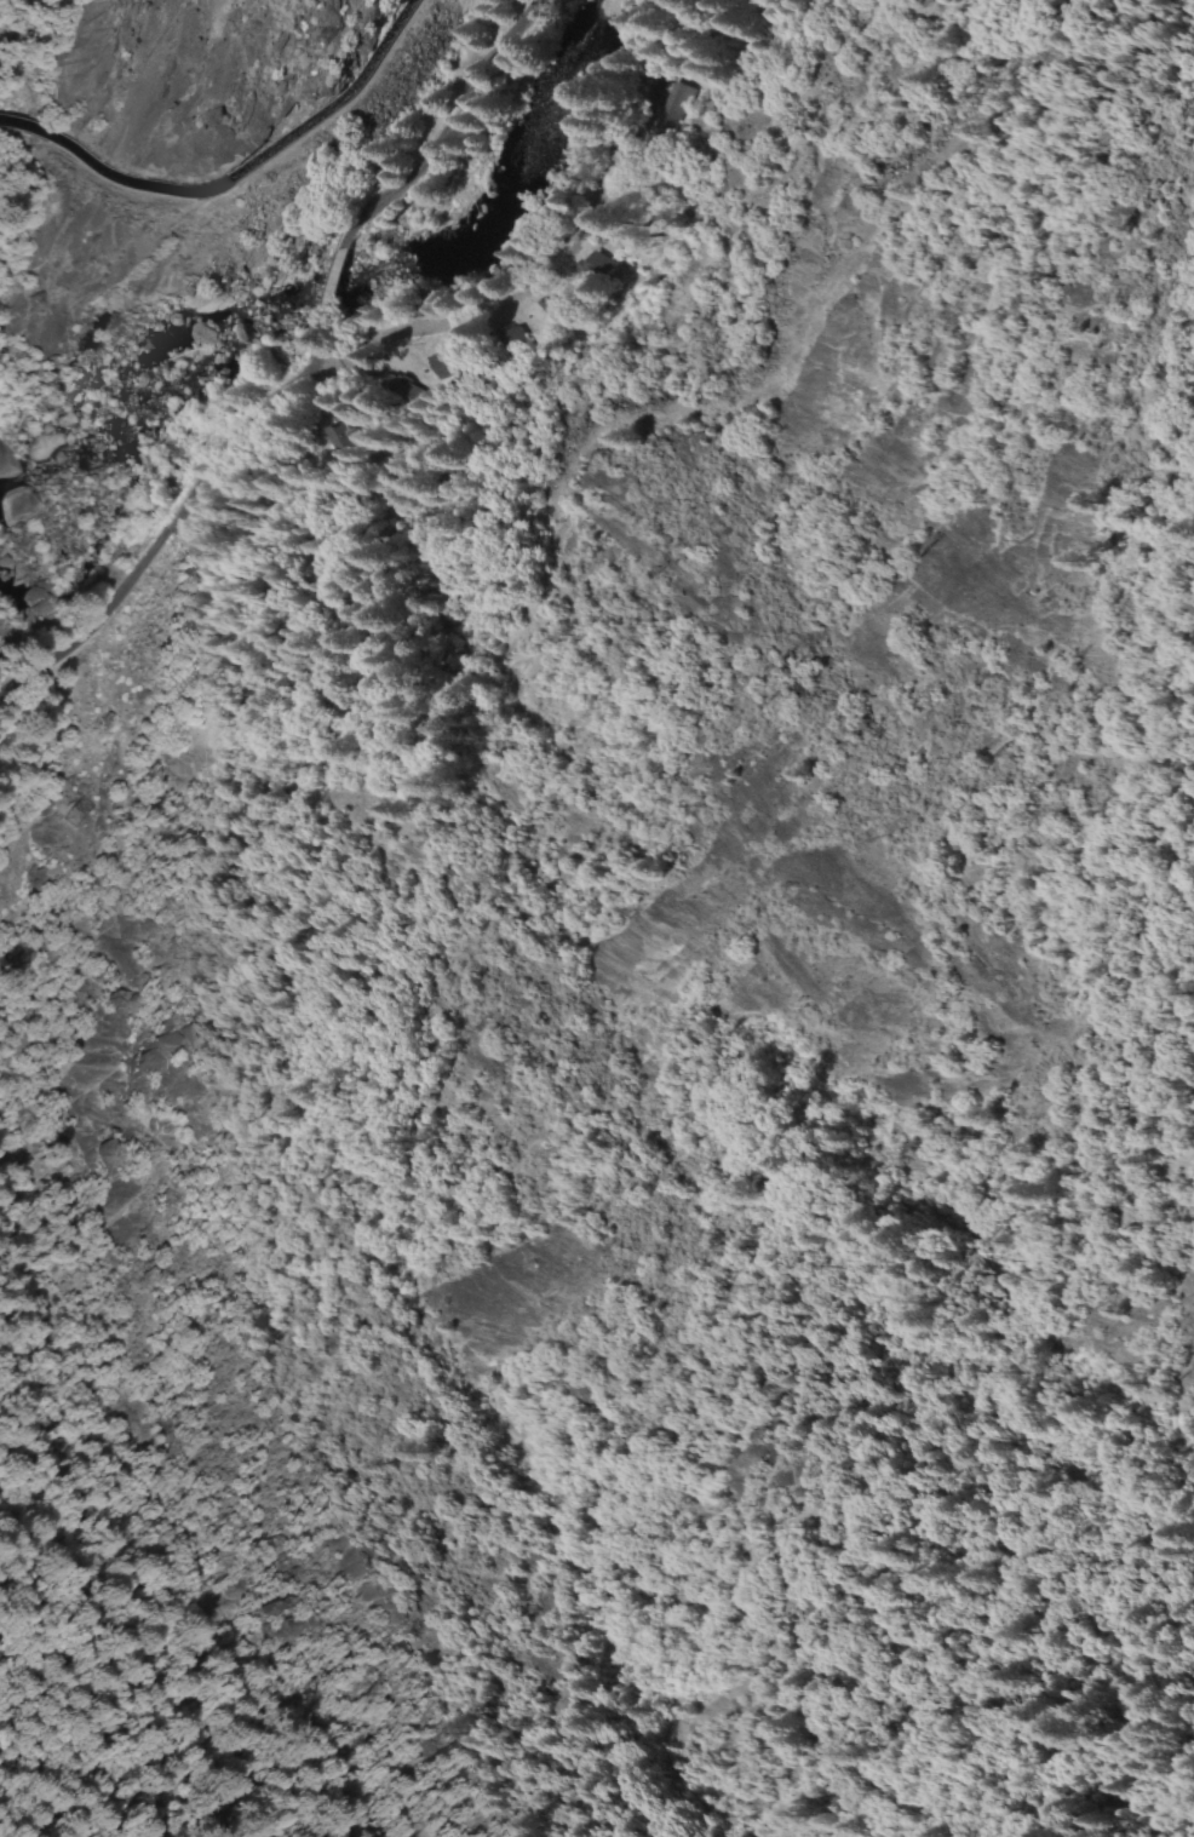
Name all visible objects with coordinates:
road: (452, 75)
building: (664, 107)
building: (595, 264)
river: (302, 320)
road: (449, 322)
building: (511, 339)
building: (394, 389)
road: (228, 434)
road: (500, 481)
power tower: (74, 822)

